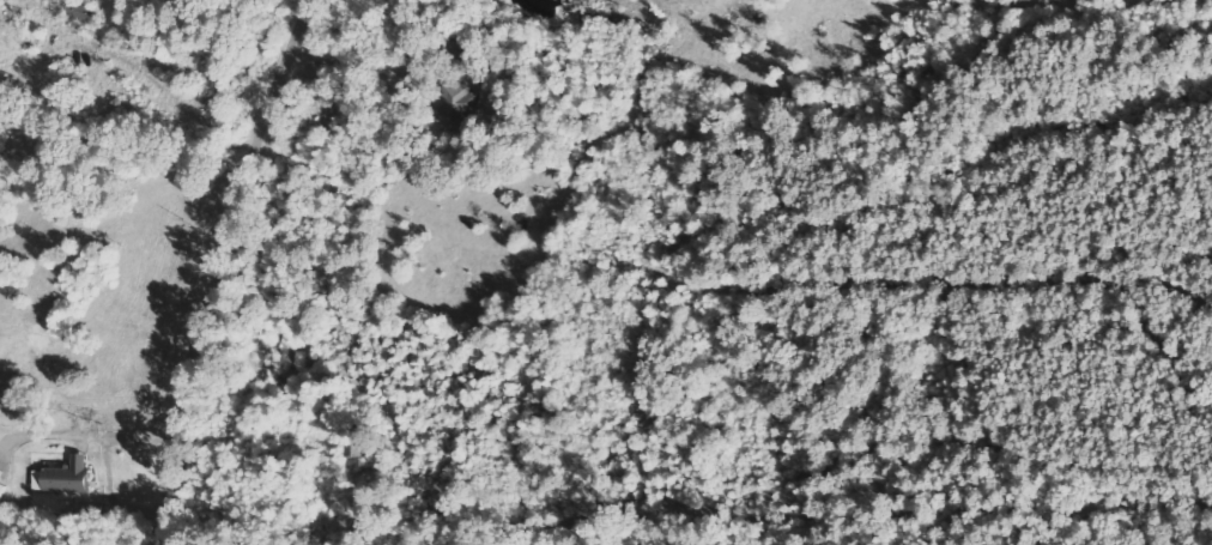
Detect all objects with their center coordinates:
building: (456, 105)
road: (222, 267)
building: (65, 477)

